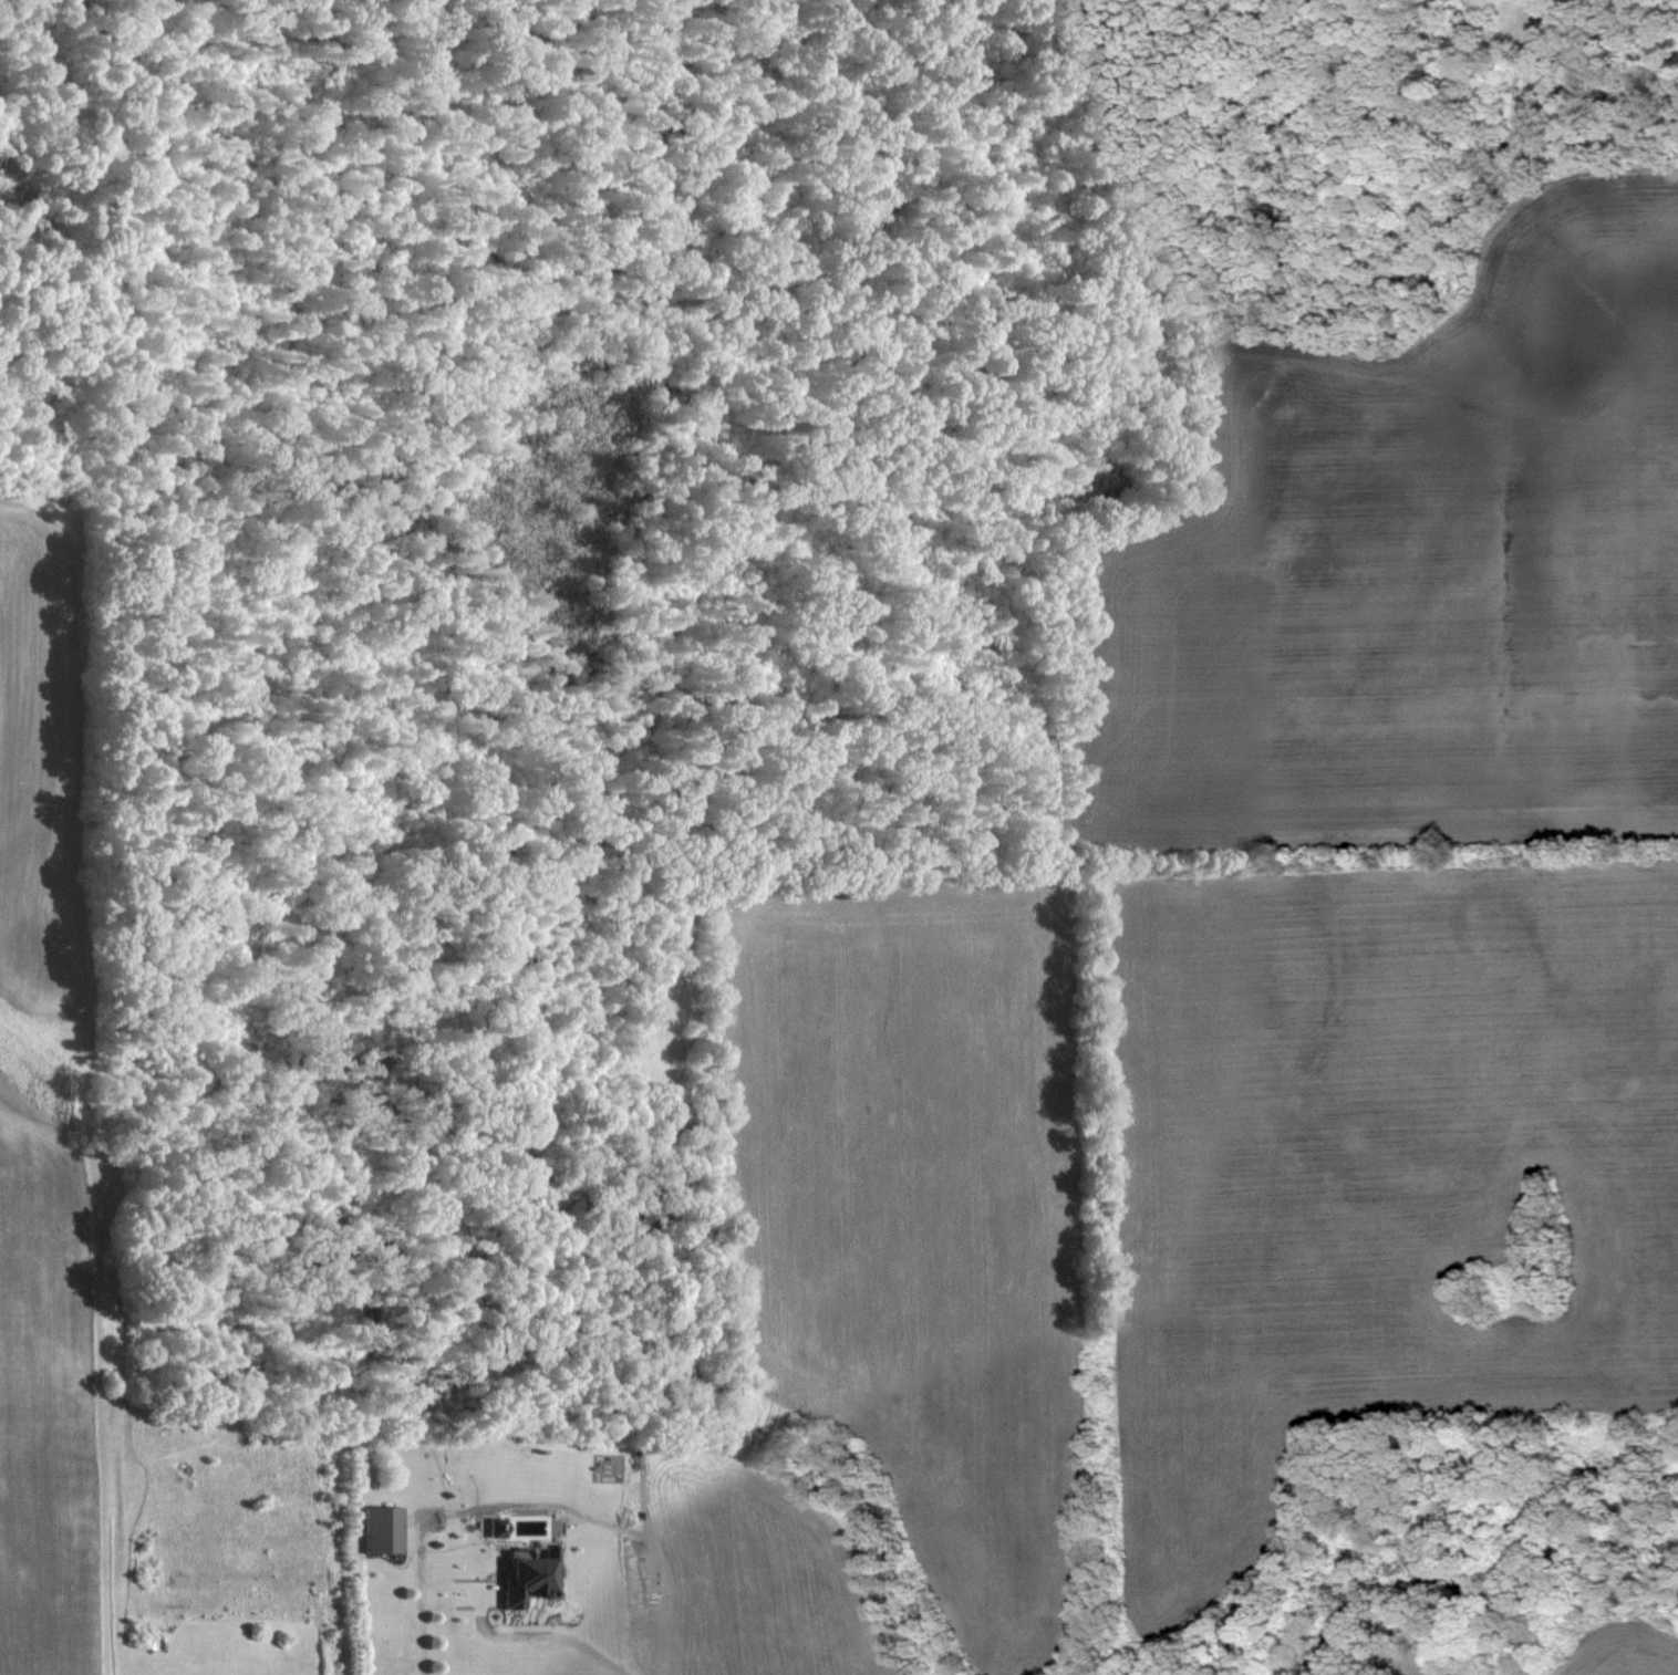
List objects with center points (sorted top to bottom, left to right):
building: (493, 1525)
building: (379, 1528)
building: (527, 1574)
road: (421, 1595)
road: (582, 1646)

